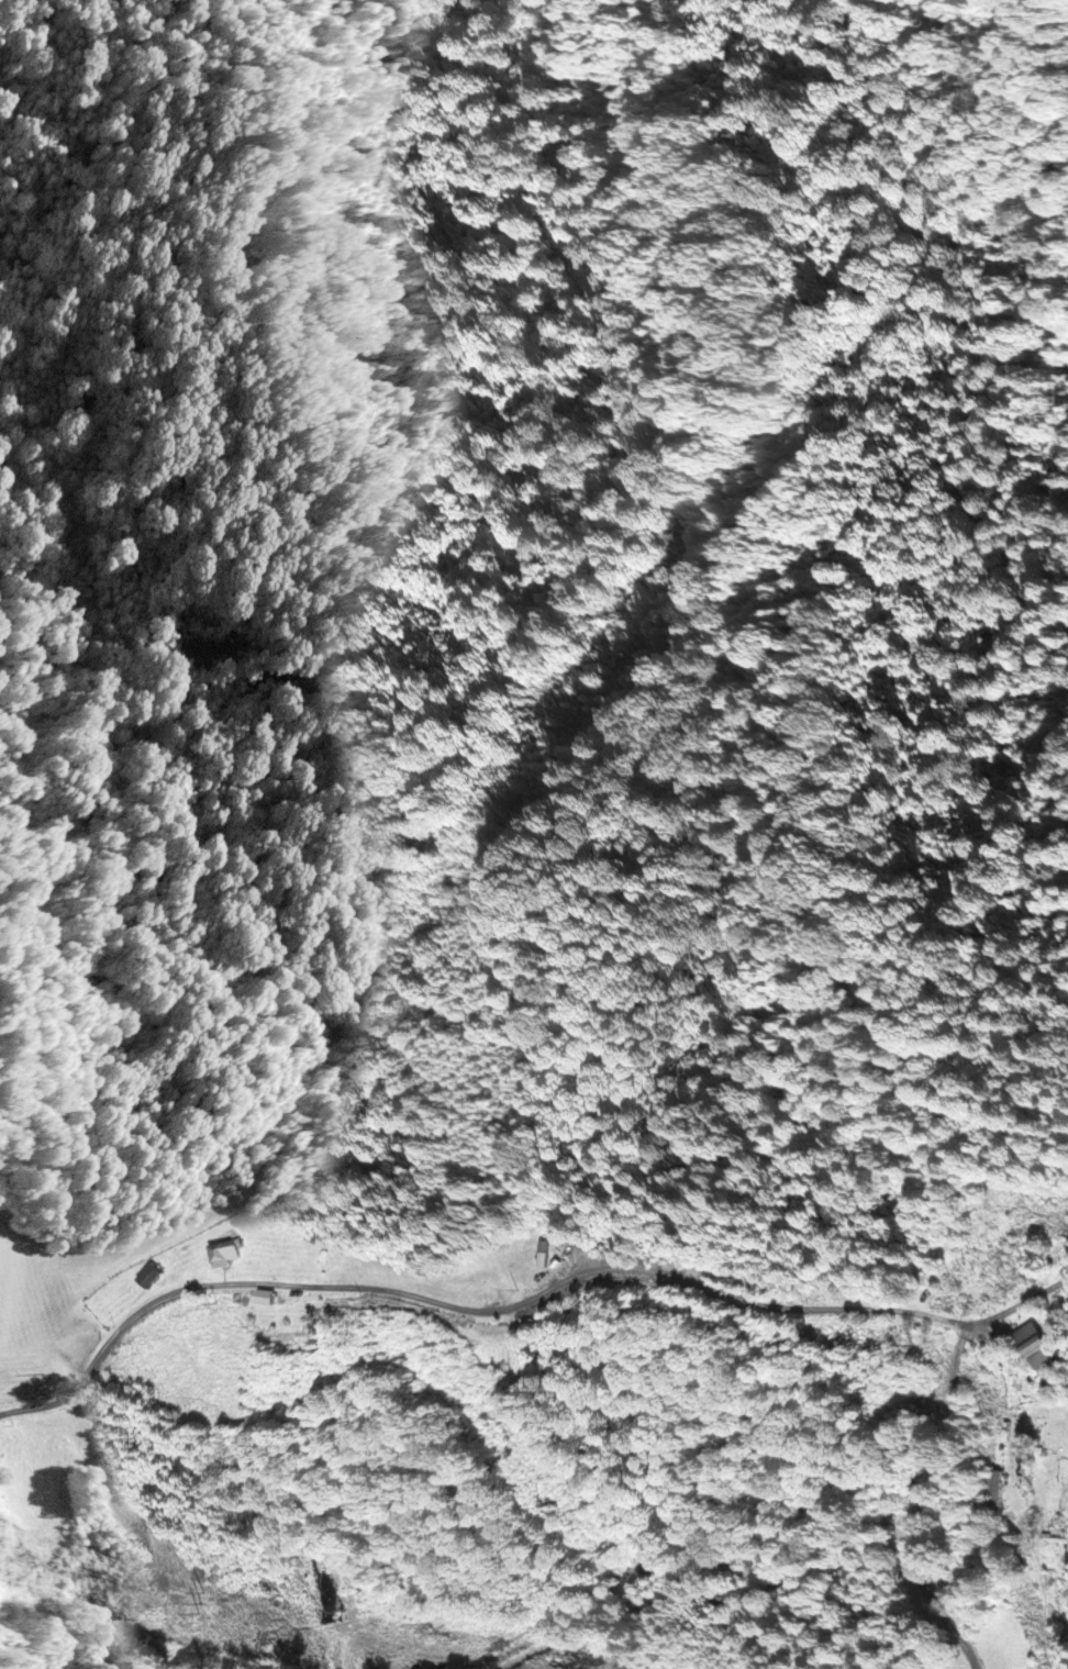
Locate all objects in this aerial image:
building: (223, 1254)
building: (149, 1277)
building: (268, 1298)
road: (513, 1308)
road: (983, 1323)
building: (1036, 1345)
building: (997, 1495)

